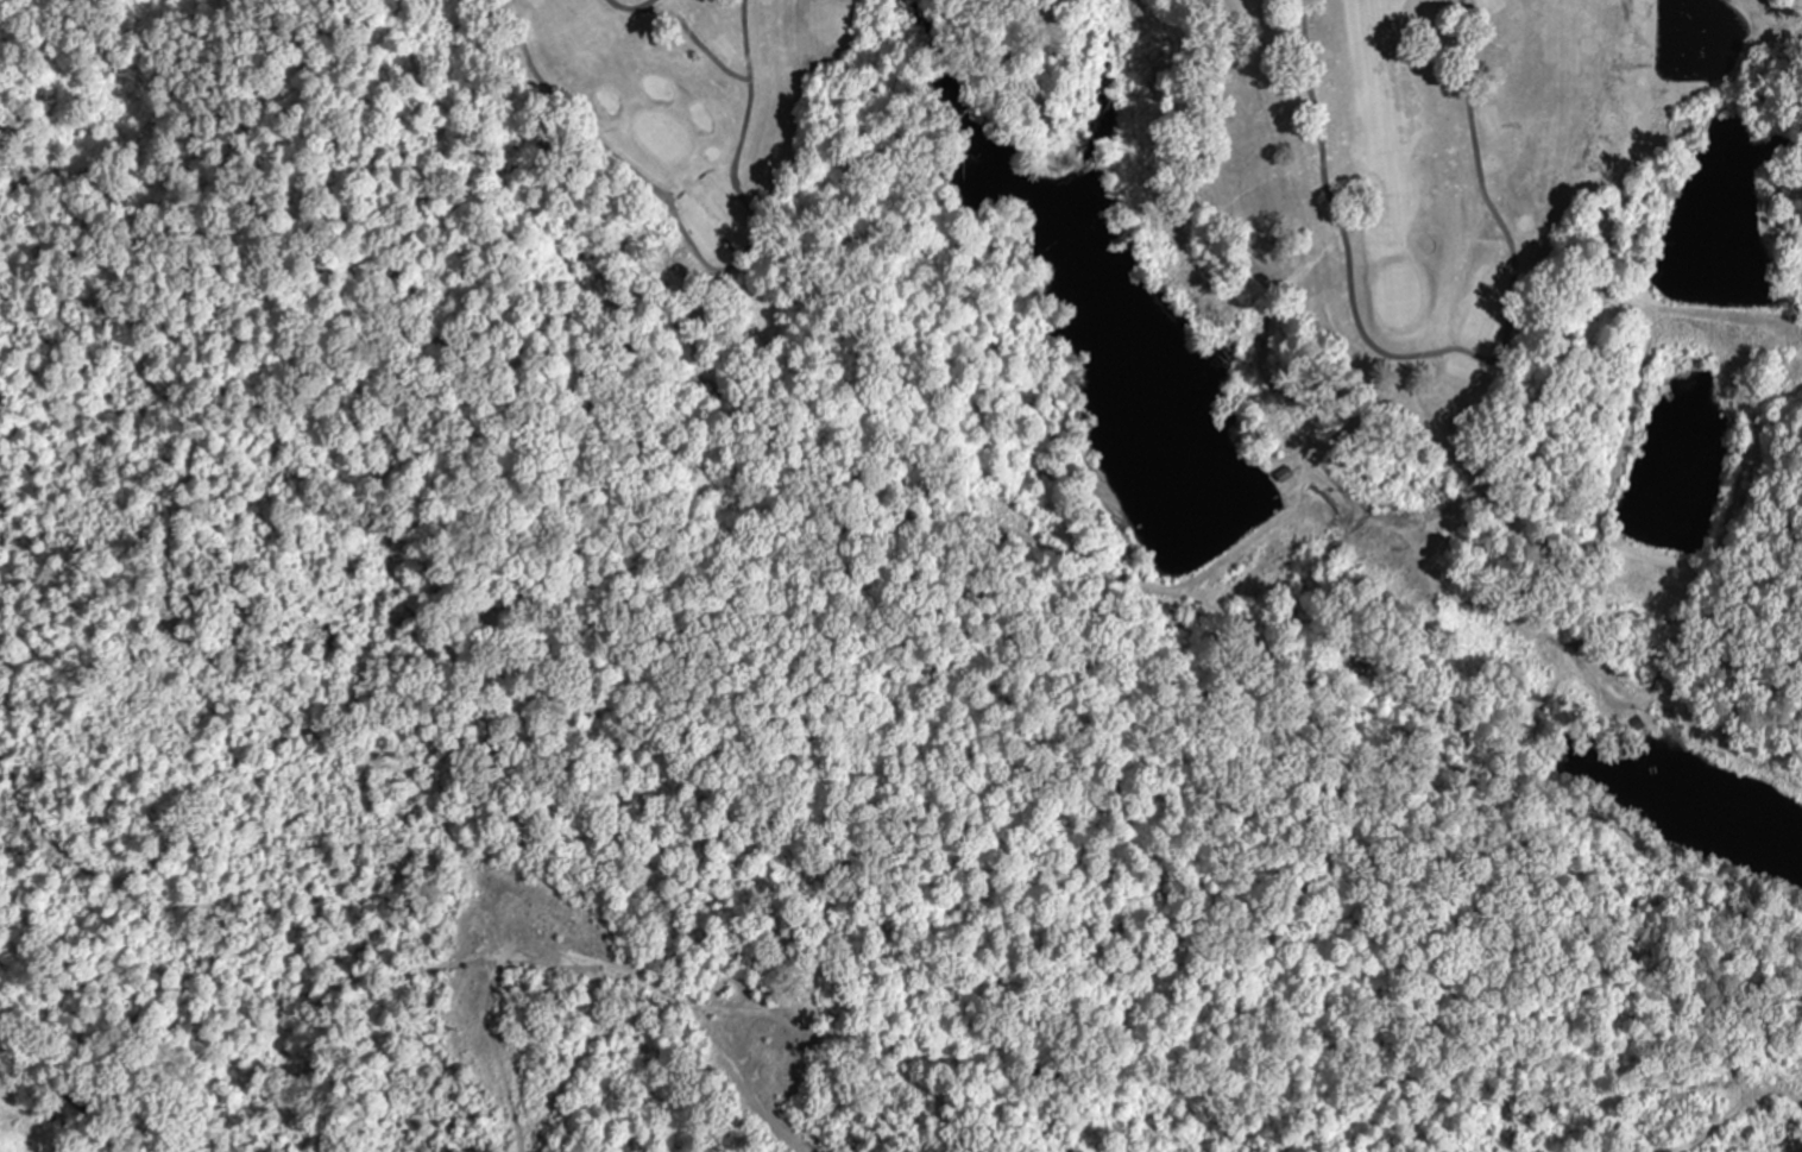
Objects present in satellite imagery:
park: (1223, 309)
building: (1284, 474)
road: (600, 655)
road: (615, 915)
road: (253, 940)
road: (65, 1097)

